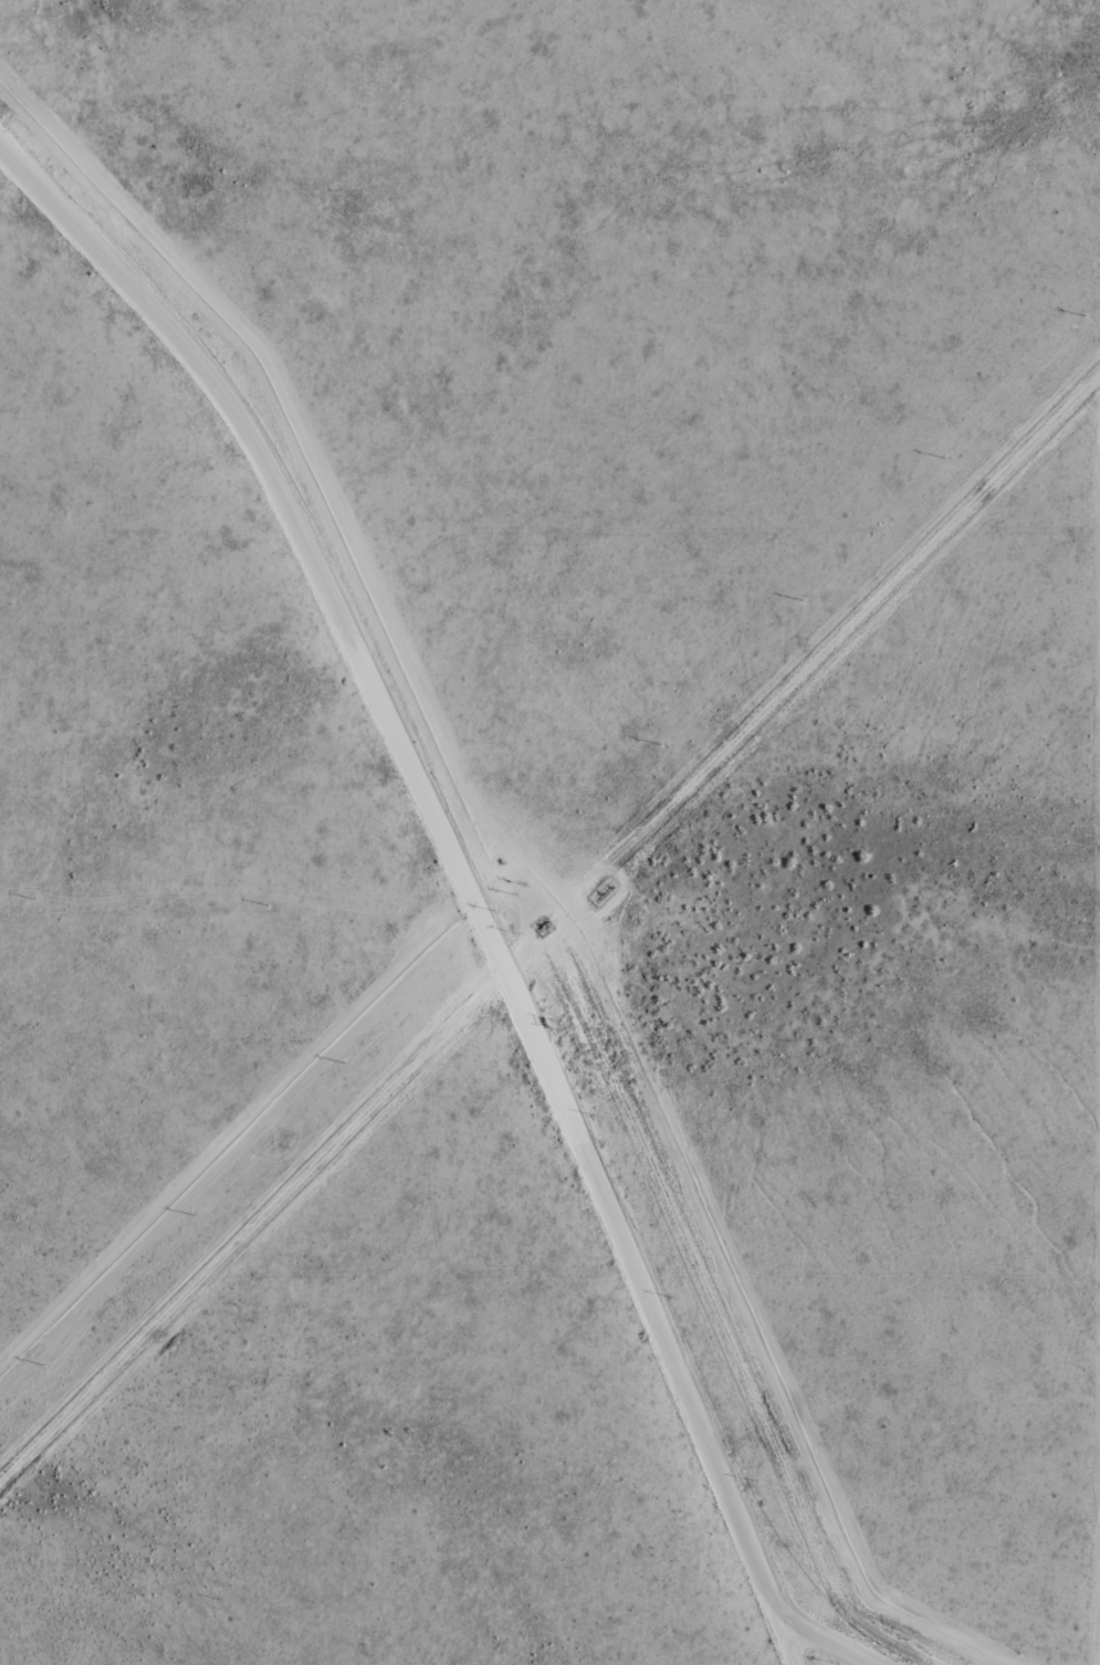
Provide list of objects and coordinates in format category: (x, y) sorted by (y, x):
road: (460, 867)
road: (815, 1652)

